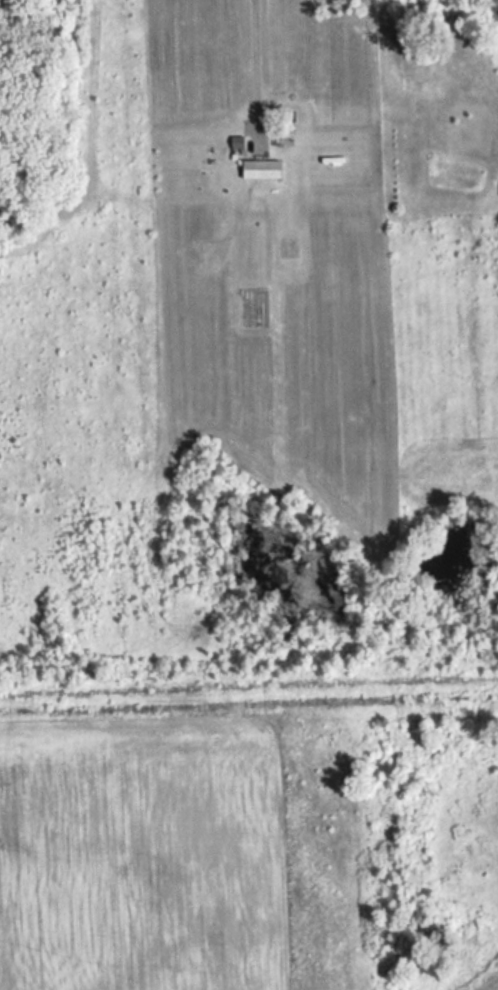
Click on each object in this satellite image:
railway: (249, 687)

